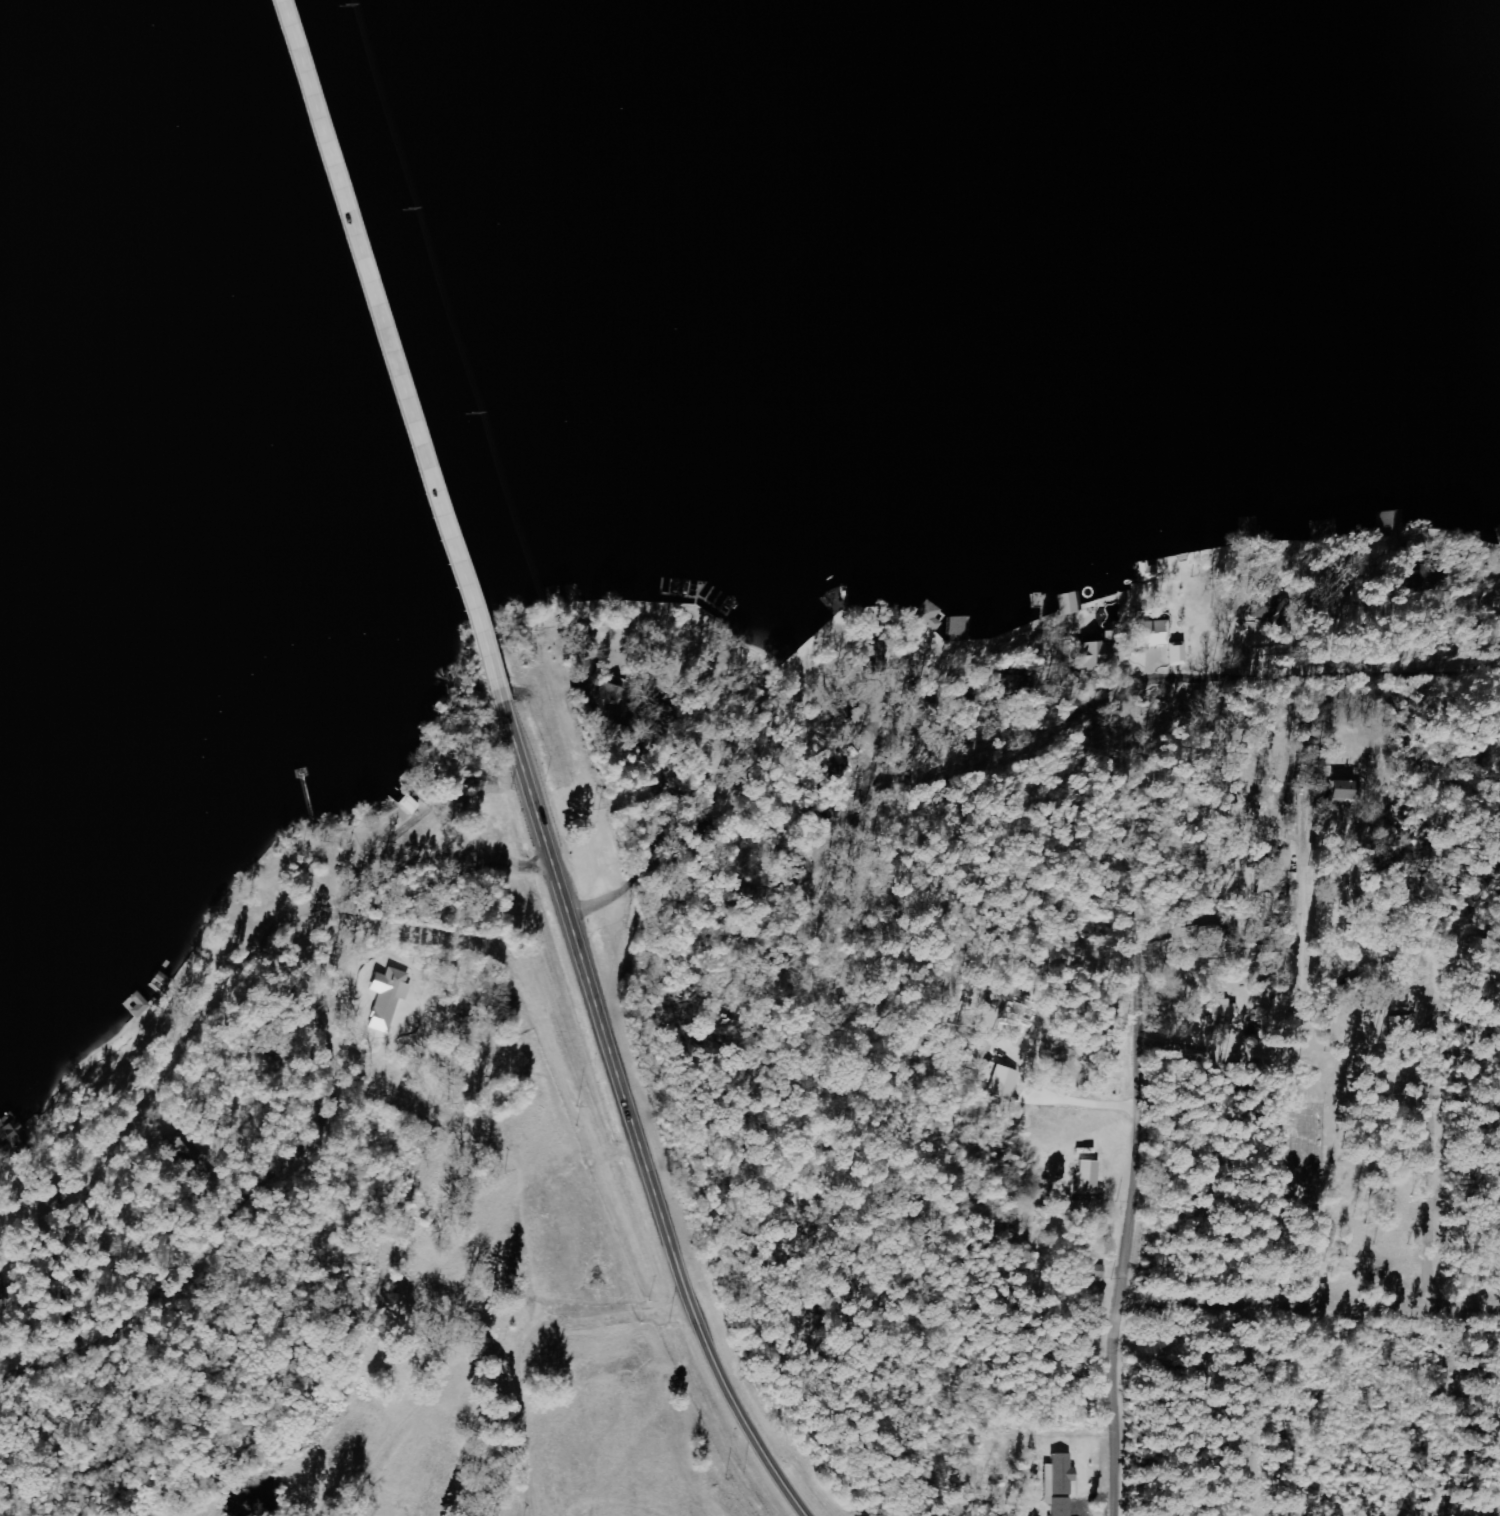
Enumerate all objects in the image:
road: (389, 357)
building: (1067, 603)
building: (1265, 605)
building: (928, 615)
road: (1367, 627)
building: (1150, 633)
building: (1090, 654)
building: (1177, 654)
road: (1407, 663)
road: (1217, 665)
road: (655, 669)
road: (881, 733)
road: (995, 746)
road: (589, 762)
building: (1337, 789)
building: (411, 805)
building: (1279, 871)
road: (1300, 994)
building: (1224, 1014)
building: (1401, 1023)
road: (248, 1025)
road: (645, 1121)
road: (1432, 1134)
building: (1087, 1176)
road: (217, 1218)
road: (1126, 1265)
road: (1310, 1309)
road: (1246, 1412)
building: (1058, 1484)

